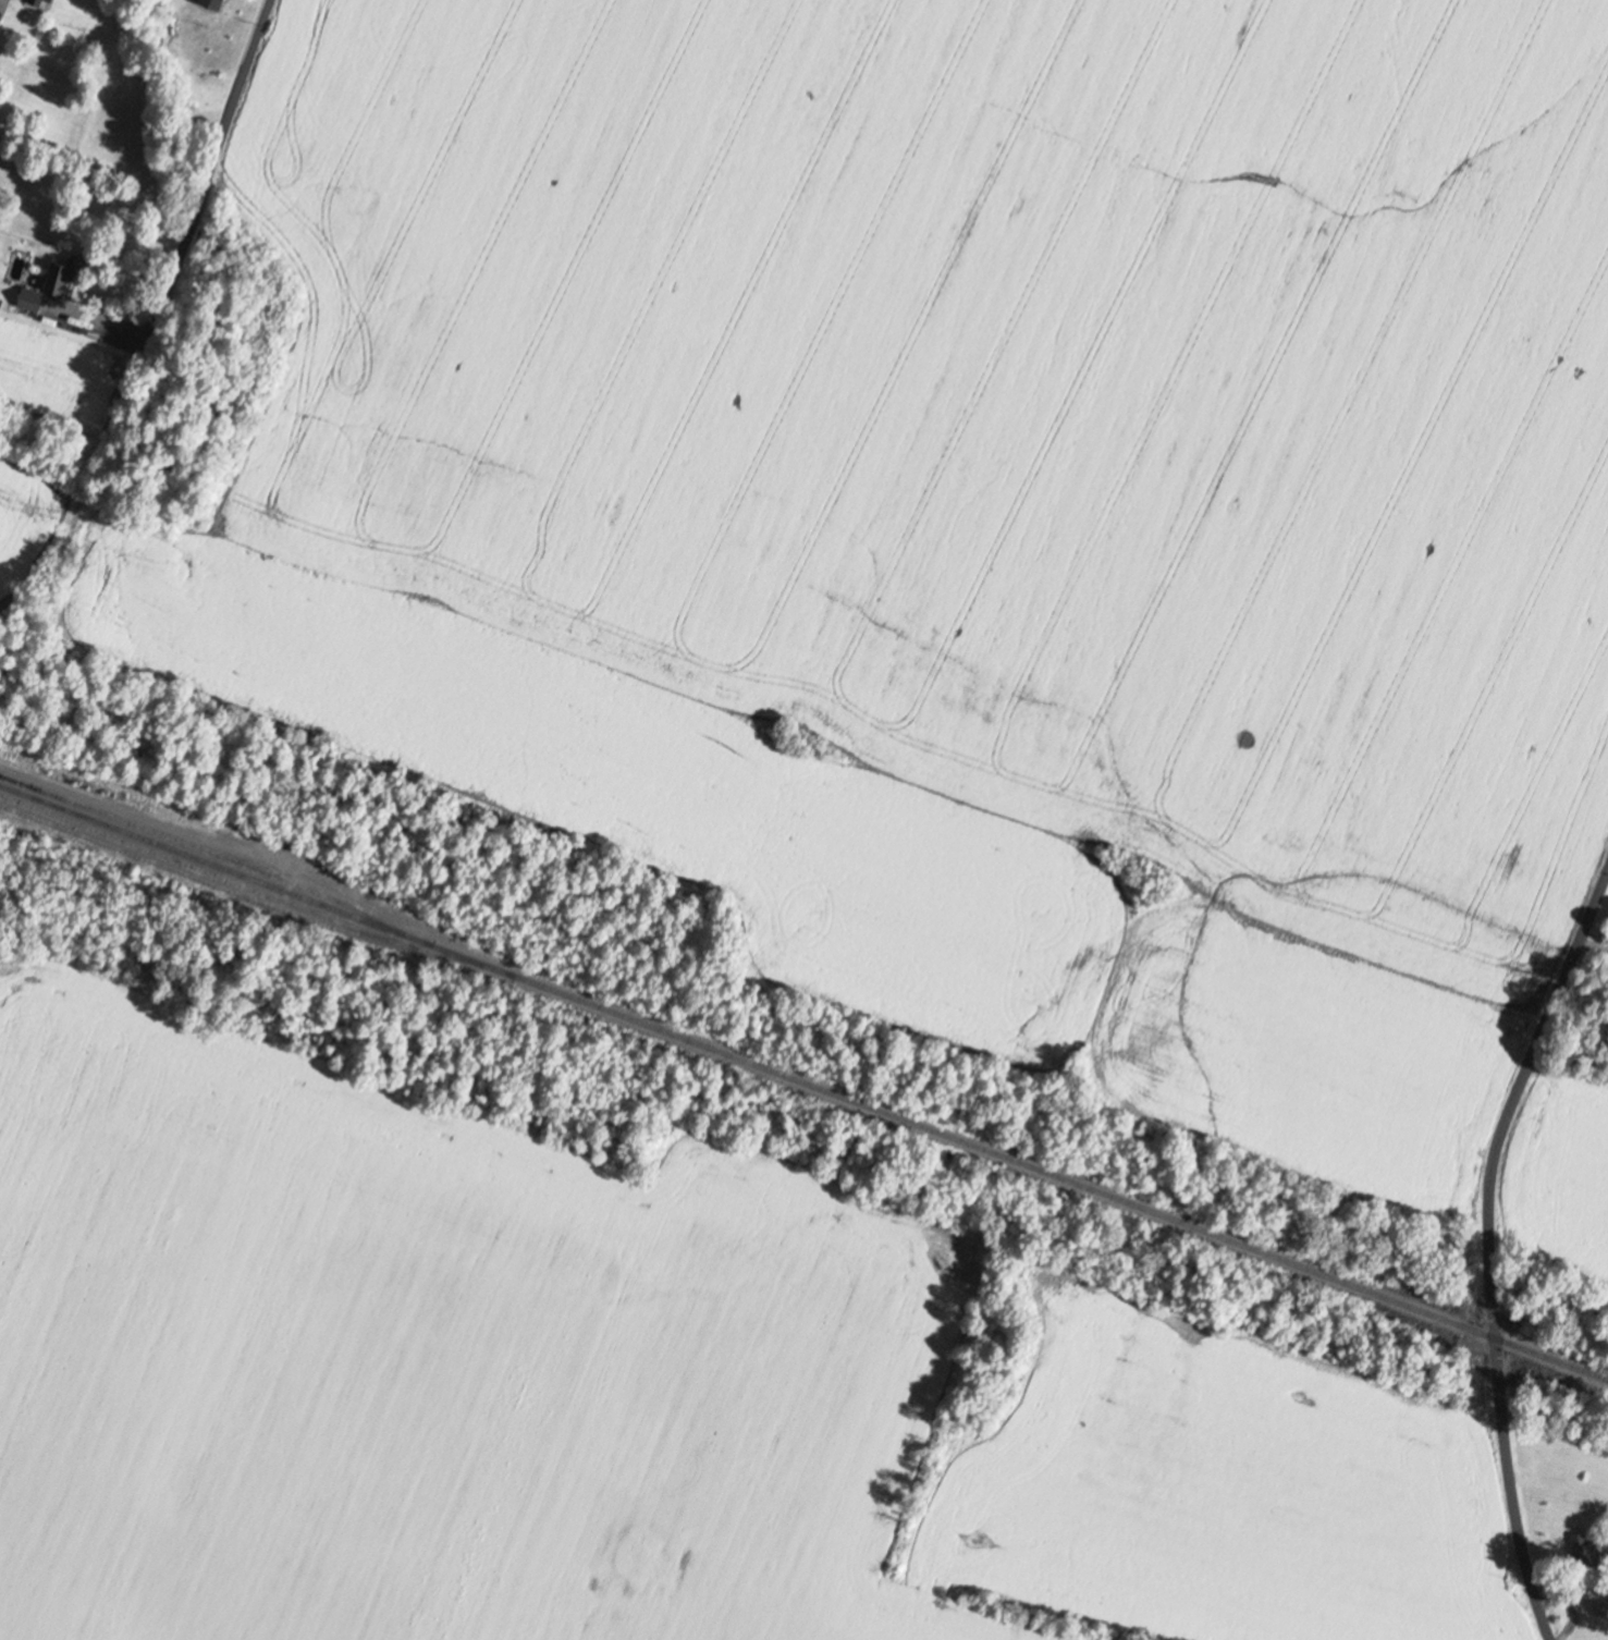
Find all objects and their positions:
building: (1, 16)
road: (210, 175)
building: (59, 278)
building: (33, 299)
railway: (221, 855)
railway: (207, 871)
railway: (253, 898)
railway: (160, 948)
railway: (803, 1081)
road: (1492, 1249)
building: (1601, 1606)

